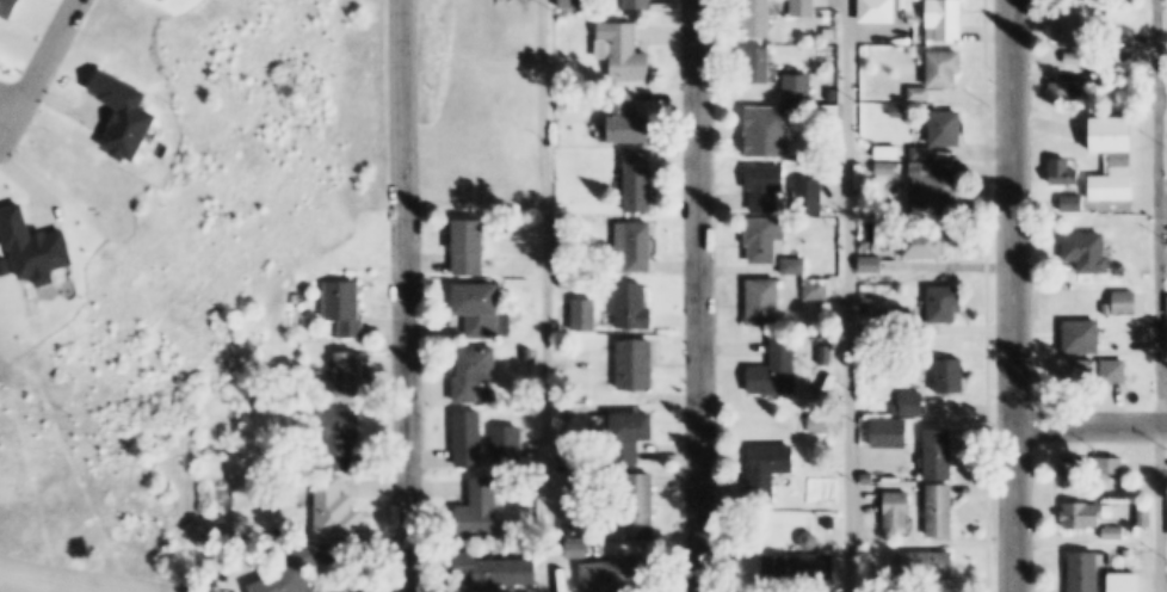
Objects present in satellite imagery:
building: (637, 4)
building: (804, 7)
building: (878, 10)
building: (760, 18)
building: (563, 19)
building: (946, 19)
building: (1069, 26)
building: (831, 32)
building: (908, 39)
building: (624, 50)
building: (1078, 58)
road: (42, 61)
building: (761, 64)
building: (945, 67)
building: (1095, 80)
building: (799, 85)
building: (1066, 91)
building: (919, 93)
building: (833, 94)
building: (832, 109)
building: (899, 111)
building: (130, 112)
building: (629, 121)
building: (774, 128)
building: (947, 128)
building: (888, 152)
building: (922, 153)
building: (1116, 158)
building: (888, 169)
building: (1064, 173)
building: (640, 181)
building: (767, 186)
building: (933, 190)
building: (809, 193)
building: (1073, 203)
road: (1162, 211)
building: (764, 239)
building: (926, 243)
building: (470, 246)
building: (635, 246)
building: (1089, 252)
building: (792, 264)
building: (871, 264)
building: (569, 267)
building: (877, 278)
building: (567, 282)
building: (817, 288)
road: (549, 295)
road: (702, 295)
road: (406, 296)
road: (852, 296)
road: (1017, 296)
building: (765, 301)
building: (945, 303)
building: (1128, 303)
building: (341, 307)
building: (634, 307)
building: (478, 308)
building: (1110, 309)
building: (583, 316)
building: (901, 321)
building: (1083, 335)
building: (526, 353)
building: (637, 364)
building: (778, 369)
building: (474, 371)
building: (1098, 371)
building: (347, 374)
building: (952, 375)
building: (909, 405)
road: (1093, 423)
building: (803, 424)
building: (819, 424)
building: (893, 431)
building: (469, 436)
building: (630, 436)
building: (342, 438)
building: (507, 442)
building: (939, 454)
building: (1111, 464)
building: (770, 470)
building: (1070, 470)
building: (1147, 488)
building: (642, 505)
building: (480, 507)
road: (1163, 507)
building: (336, 508)
building: (897, 508)
building: (941, 510)
building: (1086, 516)
building: (1144, 518)
building: (926, 565)
building: (801, 569)
building: (499, 572)
building: (1086, 572)
building: (295, 573)
building: (619, 574)
building: (1129, 582)

